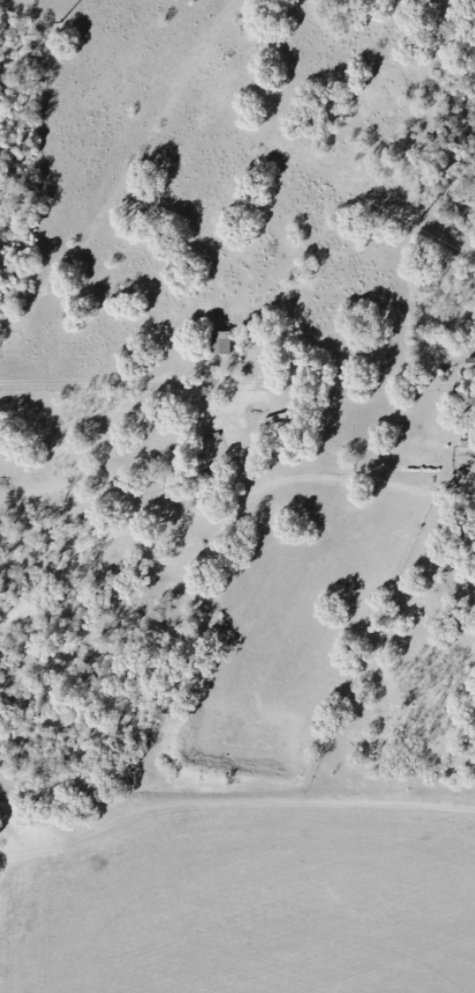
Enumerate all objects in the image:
power tower: (61, 23)
power tower: (420, 220)
building: (221, 344)
road: (100, 382)

